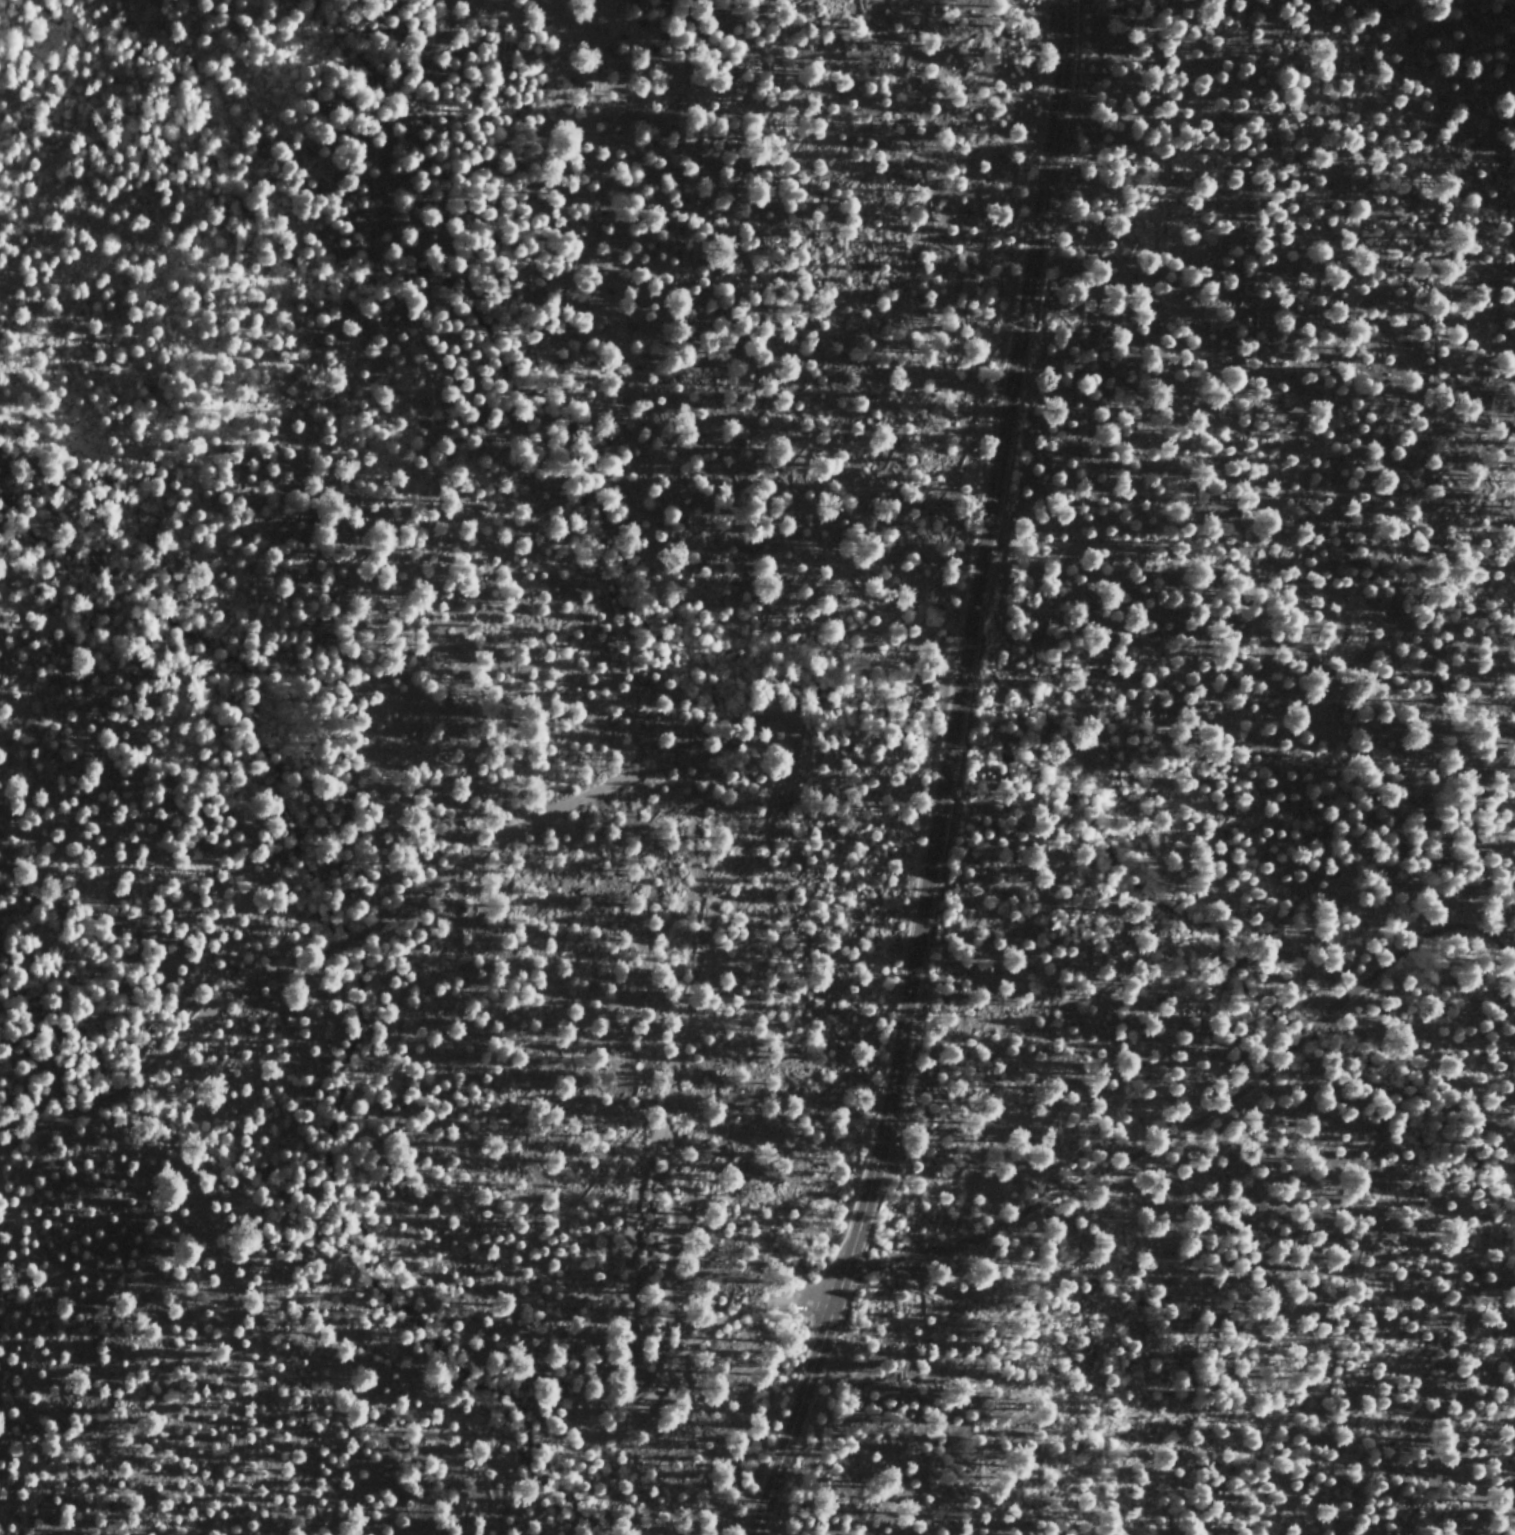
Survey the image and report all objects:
road: (1010, 378)
road: (945, 765)
road: (776, 787)
road: (1203, 1112)
road: (875, 1162)

